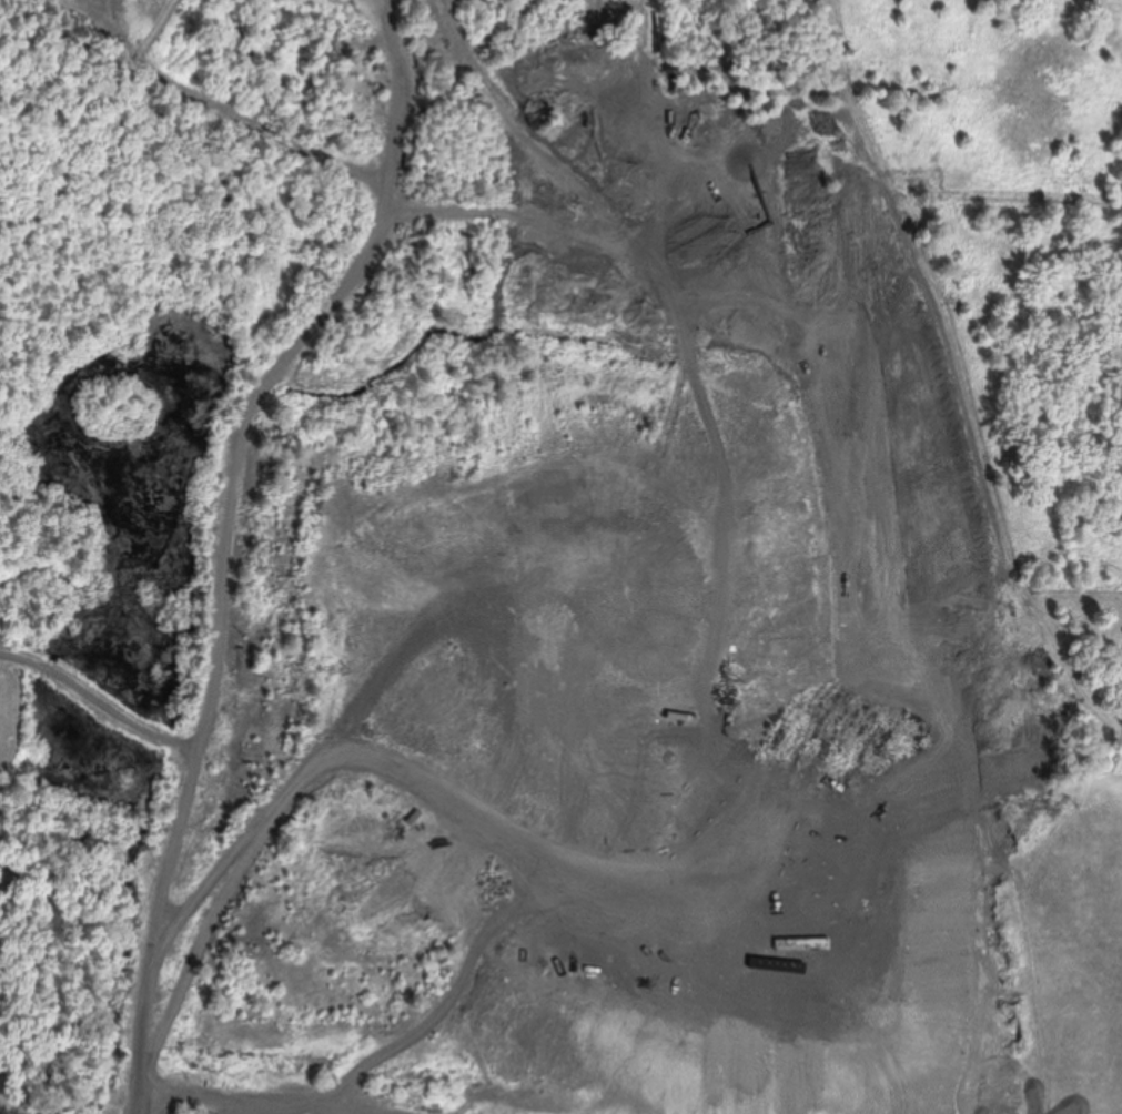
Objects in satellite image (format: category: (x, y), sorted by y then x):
road: (239, 537)
road: (98, 970)
building: (649, 1105)

